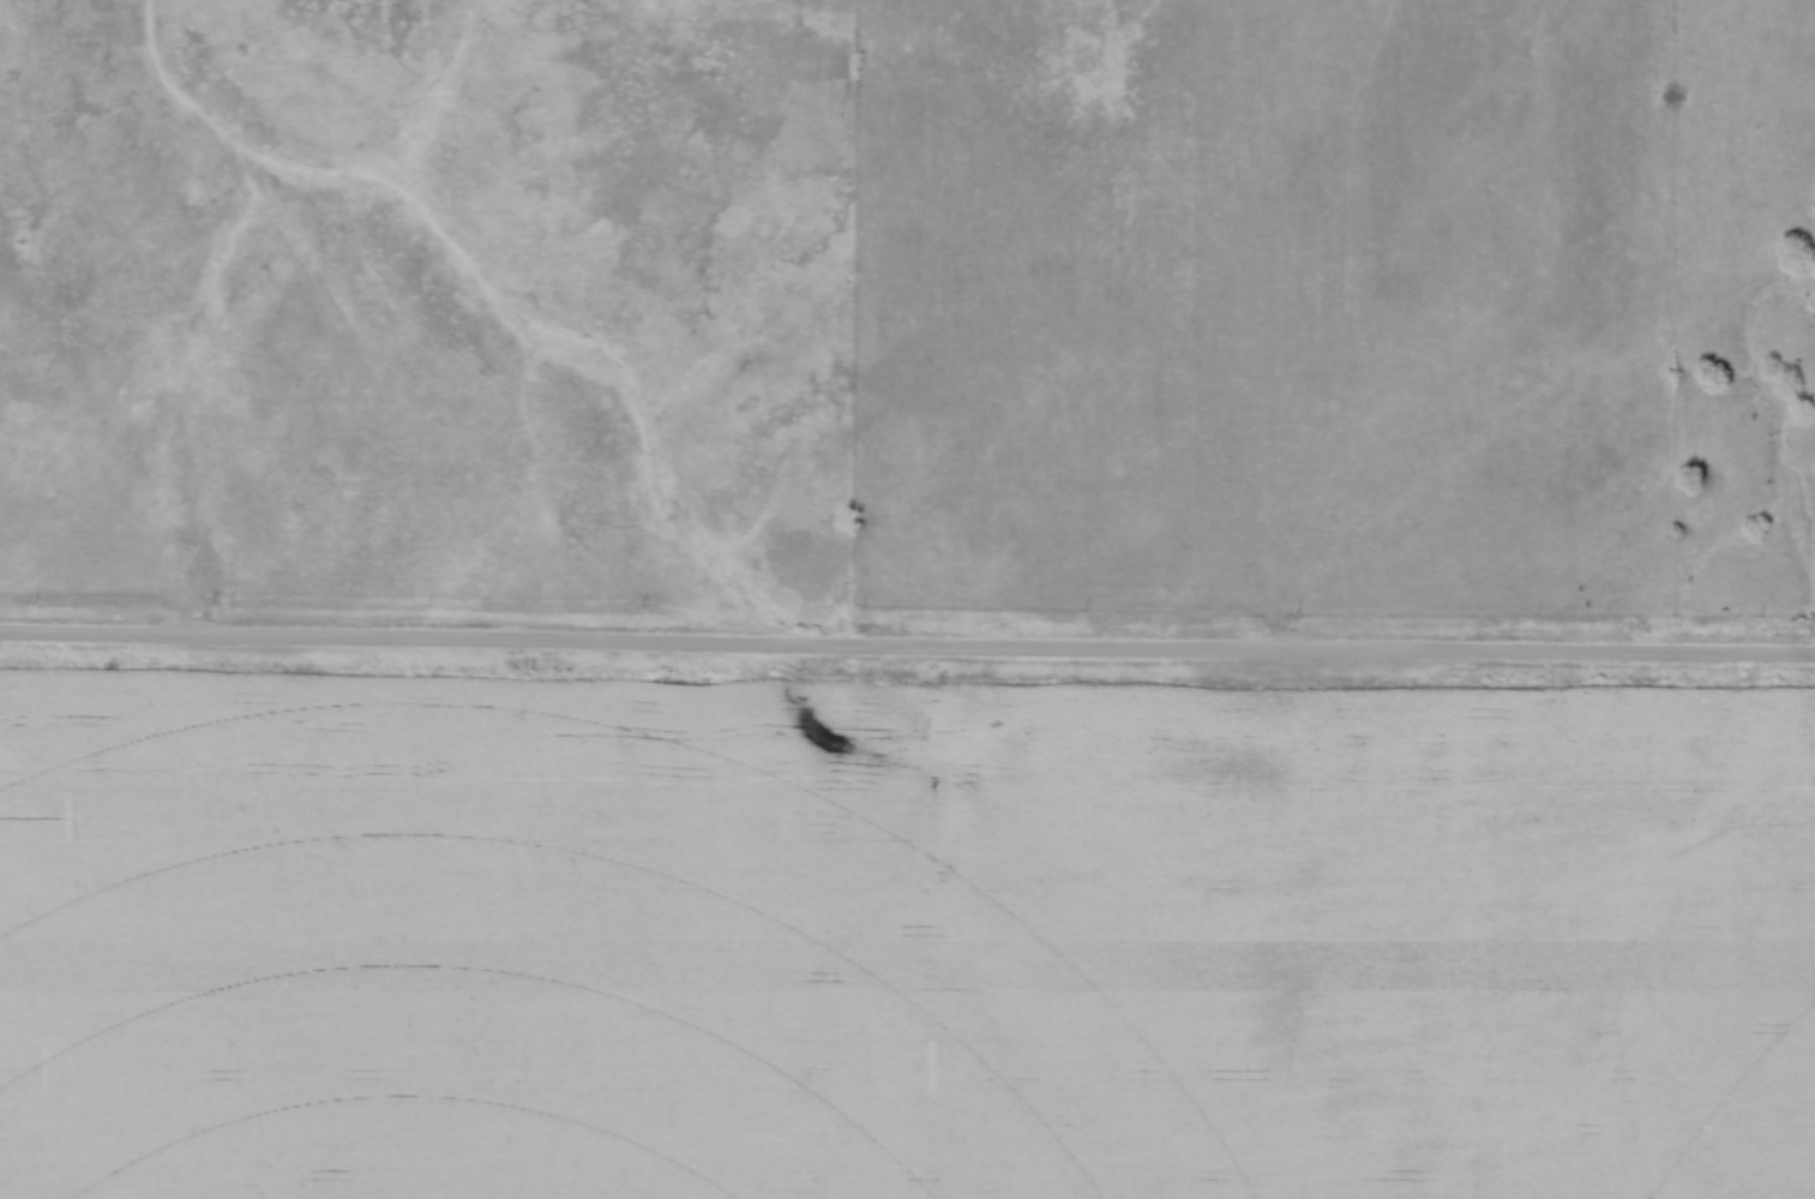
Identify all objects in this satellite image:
road: (907, 652)

